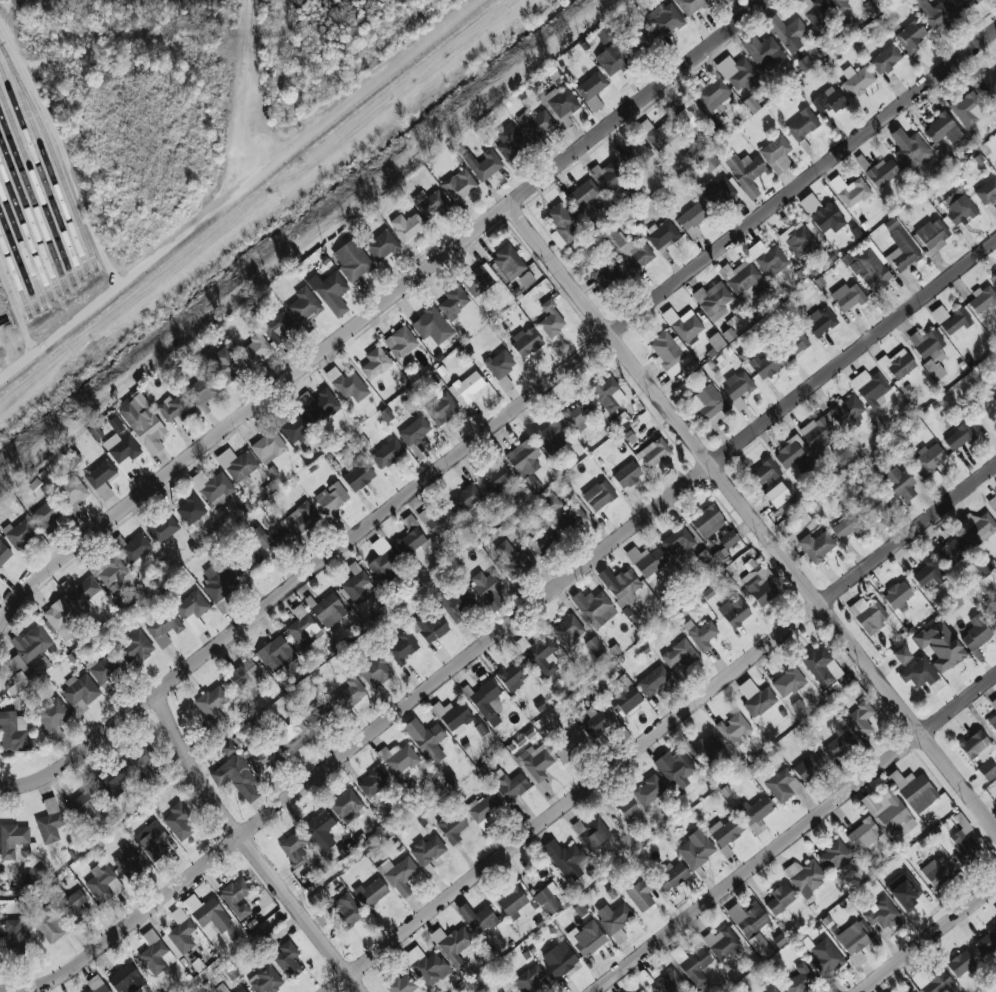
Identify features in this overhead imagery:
building: (969, 2)
building: (841, 5)
building: (691, 6)
building: (816, 12)
building: (936, 12)
building: (666, 21)
building: (787, 31)
building: (604, 35)
building: (911, 36)
building: (641, 42)
building: (764, 52)
building: (885, 59)
building: (614, 63)
building: (741, 75)
building: (857, 80)
building: (591, 85)
building: (988, 85)
building: (714, 94)
road: (229, 96)
building: (6, 97)
building: (829, 101)
building: (560, 102)
building: (750, 104)
building: (968, 108)
building: (689, 116)
building: (537, 124)
building: (802, 125)
building: (942, 129)
building: (662, 134)
building: (510, 141)
building: (775, 149)
building: (913, 152)
railway: (53, 155)
building: (635, 155)
railway: (44, 160)
building: (483, 164)
building: (745, 172)
building: (883, 172)
railway: (40, 173)
building: (41, 176)
building: (614, 178)
building: (459, 185)
railway: (37, 188)
building: (717, 191)
building: (851, 191)
building: (987, 191)
building: (583, 193)
road: (244, 194)
railway: (33, 203)
building: (430, 203)
building: (959, 207)
building: (821, 214)
railway: (29, 218)
building: (54, 218)
building: (693, 218)
building: (891, 223)
building: (561, 225)
building: (406, 226)
railway: (26, 234)
building: (663, 235)
building: (933, 235)
building: (35, 238)
building: (799, 241)
building: (382, 245)
railway: (22, 248)
building: (628, 250)
building: (902, 251)
building: (352, 260)
building: (771, 261)
building: (508, 262)
railway: (19, 263)
building: (869, 269)
building: (606, 275)
railway: (15, 278)
building: (743, 278)
building: (479, 279)
building: (330, 292)
building: (848, 297)
building: (982, 299)
building: (715, 302)
building: (453, 303)
building: (305, 308)
road: (379, 308)
building: (551, 319)
building: (820, 321)
building: (957, 324)
building: (431, 325)
building: (686, 326)
building: (279, 328)
building: (526, 341)
building: (716, 341)
building: (401, 344)
building: (794, 345)
building: (255, 350)
building: (929, 351)
building: (671, 354)
building: (375, 363)
building: (224, 364)
building: (499, 364)
building: (897, 364)
building: (765, 365)
building: (350, 386)
building: (738, 387)
building: (466, 388)
building: (870, 388)
building: (201, 391)
building: (995, 394)
building: (608, 395)
building: (320, 404)
building: (712, 405)
building: (174, 408)
building: (442, 409)
building: (847, 413)
building: (386, 414)
building: (578, 416)
road: (502, 420)
building: (143, 423)
building: (294, 426)
building: (414, 431)
building: (816, 431)
building: (552, 436)
building: (958, 437)
building: (268, 447)
building: (122, 451)
building: (790, 451)
building: (654, 452)
building: (841, 452)
building: (387, 453)
building: (523, 458)
building: (929, 459)
building: (238, 465)
building: (764, 472)
building: (358, 475)
building: (627, 475)
building: (101, 477)
building: (497, 478)
building: (898, 483)
building: (213, 488)
building: (70, 492)
building: (777, 494)
building: (598, 495)
building: (331, 497)
building: (466, 499)
building: (550, 502)
building: (993, 503)
building: (873, 505)
building: (191, 510)
building: (47, 516)
road: (753, 517)
building: (302, 518)
building: (571, 519)
building: (438, 520)
building: (707, 521)
building: (845, 526)
building: (978, 526)
building: (162, 528)
building: (21, 533)
building: (270, 538)
building: (543, 539)
building: (728, 539)
building: (677, 541)
building: (410, 542)
building: (816, 546)
building: (132, 547)
building: (954, 550)
building: (4, 553)
building: (249, 557)
building: (511, 560)
building: (646, 560)
building: (108, 571)
building: (928, 575)
building: (357, 584)
building: (486, 585)
building: (620, 585)
building: (760, 585)
building: (219, 586)
building: (84, 591)
building: (897, 595)
building: (456, 604)
building: (595, 608)
building: (991, 609)
building: (329, 610)
building: (193, 611)
building: (734, 611)
building: (868, 614)
building: (60, 619)
building: (430, 626)
building: (163, 627)
road: (510, 627)
building: (569, 630)
building: (976, 633)
building: (701, 634)
building: (31, 643)
building: (941, 645)
building: (594, 646)
building: (135, 647)
building: (401, 648)
building: (275, 654)
building: (540, 654)
building: (680, 654)
building: (901, 655)
building: (821, 666)
building: (25, 669)
building: (104, 670)
building: (375, 671)
building: (919, 673)
building: (246, 674)
building: (513, 674)
building: (653, 680)
building: (788, 681)
building: (833, 689)
building: (81, 692)
building: (350, 693)
building: (623, 697)
building: (756, 698)
building: (487, 702)
building: (993, 704)
building: (212, 705)
building: (320, 714)
building: (453, 716)
building: (53, 717)
building: (858, 720)
building: (597, 722)
building: (992, 722)
road: (663, 728)
building: (734, 729)
building: (14, 732)
building: (294, 736)
building: (426, 739)
building: (570, 745)
building: (839, 745)
building: (976, 746)
building: (705, 750)
building: (264, 759)
building: (399, 759)
building: (140, 762)
building: (536, 764)
building: (810, 766)
building: (675, 769)
building: (987, 770)
building: (237, 777)
building: (111, 781)
building: (373, 782)
building: (510, 785)
building: (782, 785)
building: (648, 790)
building: (914, 790)
building: (345, 803)
building: (84, 805)
building: (627, 806)
building: (483, 807)
building: (888, 811)
building: (756, 814)
building: (49, 821)
building: (178, 821)
building: (452, 826)
building: (320, 831)
building: (592, 834)
building: (725, 834)
road: (796, 834)
building: (863, 836)
building: (12, 840)
building: (151, 840)
building: (964, 843)
building: (294, 849)
road: (250, 850)
building: (427, 850)
building: (696, 850)
building: (834, 856)
building: (566, 859)
building: (127, 860)
building: (937, 871)
building: (36, 874)
building: (398, 875)
building: (671, 875)
building: (805, 876)
building: (103, 883)
building: (904, 889)
building: (370, 893)
building: (640, 895)
building: (237, 897)
building: (780, 898)
building: (548, 899)
building: (511, 901)
building: (73, 906)
building: (345, 911)
building: (207, 913)
building: (881, 914)
building: (613, 917)
building: (477, 918)
building: (748, 918)
building: (50, 924)
building: (16, 934)
building: (179, 938)
building: (586, 938)
road: (928, 938)
building: (853, 941)
building: (986, 942)
building: (722, 943)
building: (452, 944)
building: (760, 945)
building: (155, 958)
building: (824, 958)
building: (287, 959)
building: (559, 959)
building: (961, 963)
building: (426, 966)
building: (695, 967)
building: (126, 979)
building: (800, 979)
building: (266, 980)
building: (527, 980)
building: (936, 982)
building: (668, 983)
building: (96, 984)
building: (402, 984)
building: (221, 988)
building: (242, 990)
building: (644, 991)
building: (774, 991)
building: (891, 991)
building: (910, 991)

